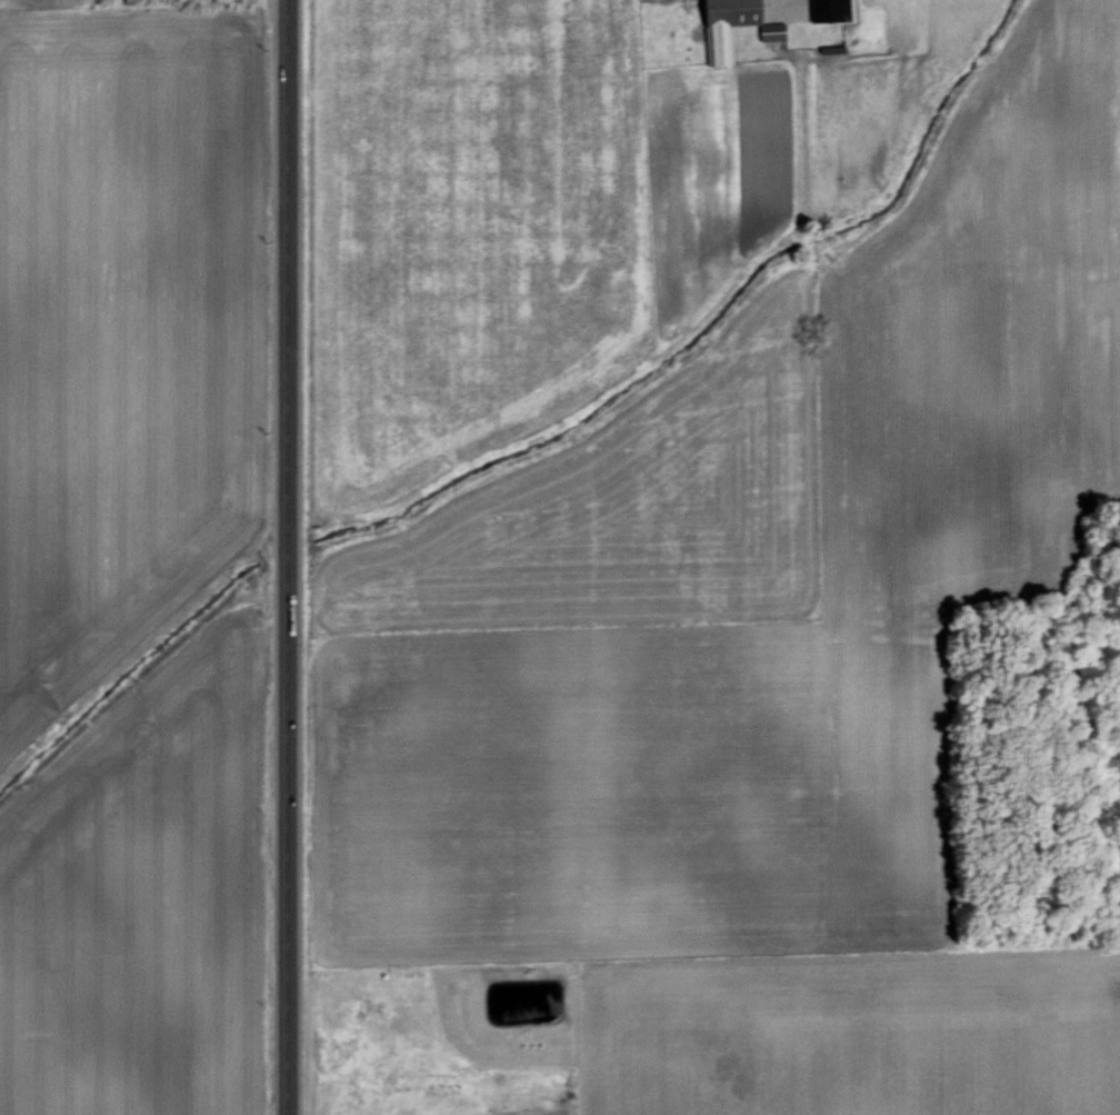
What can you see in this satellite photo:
building: (723, 26)
road: (284, 557)

